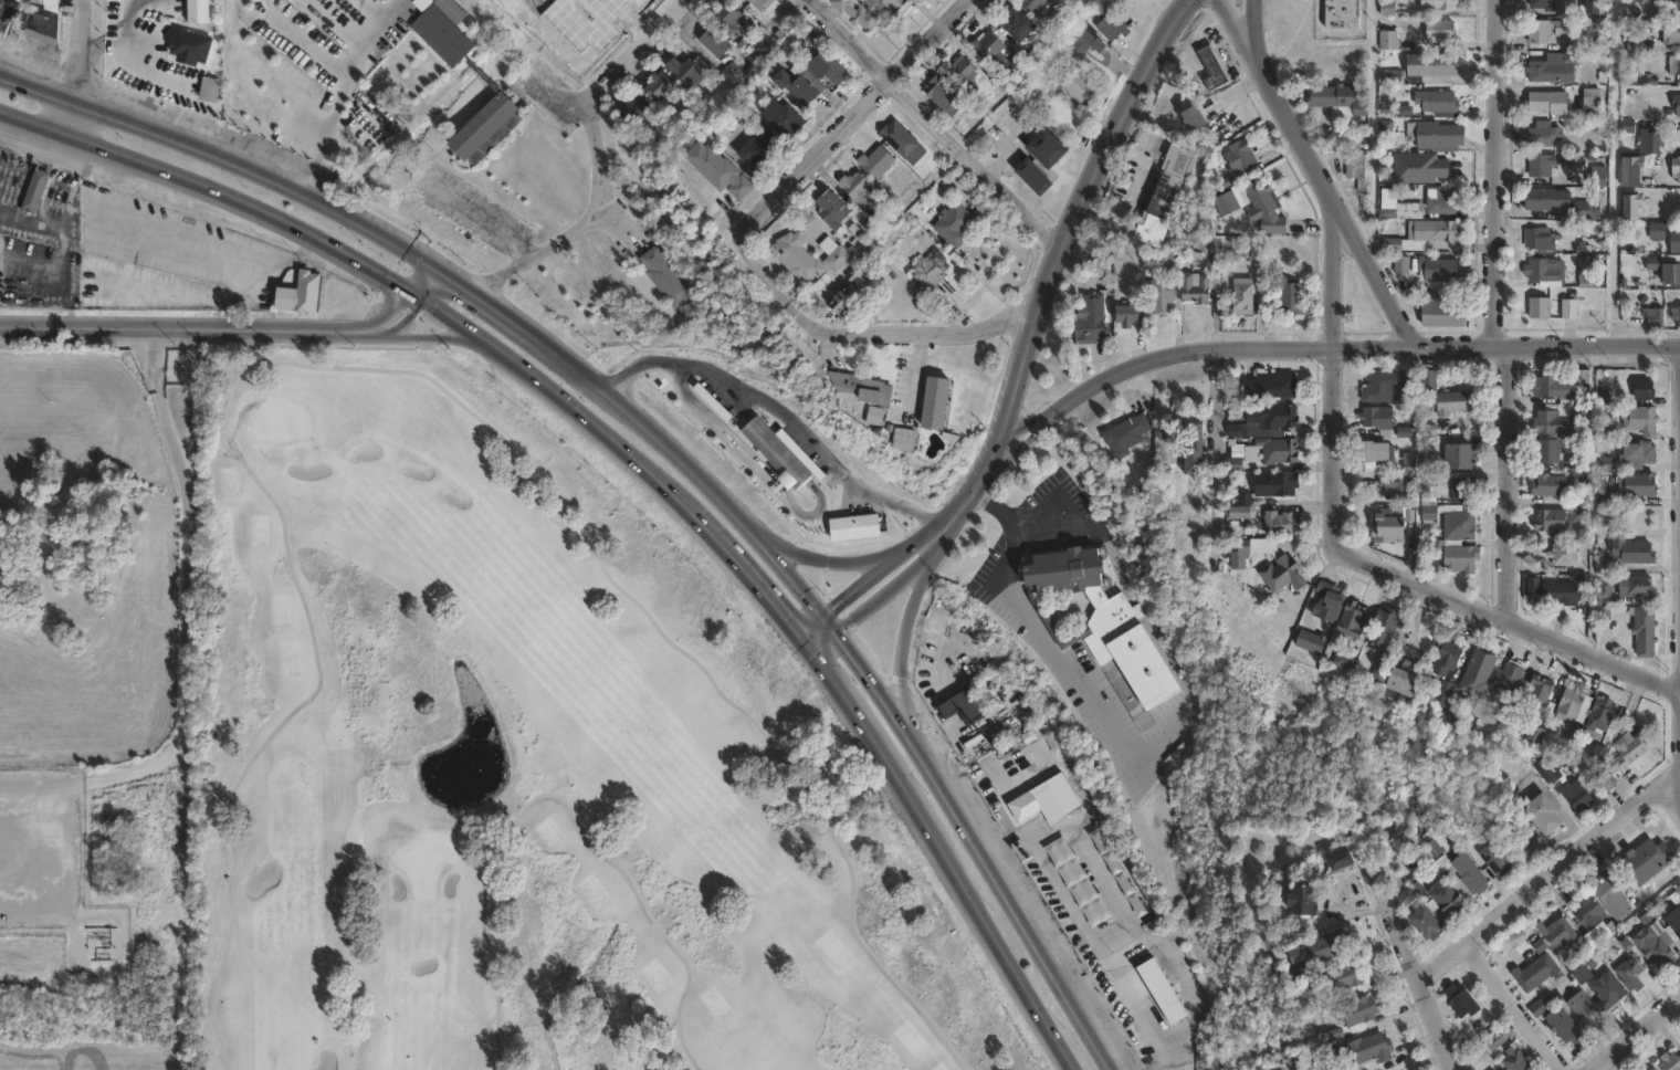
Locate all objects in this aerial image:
building: (766, 4)
building: (1035, 4)
building: (1440, 4)
building: (1547, 4)
building: (1595, 7)
building: (1678, 7)
building: (899, 8)
building: (1344, 13)
building: (44, 17)
building: (864, 17)
building: (1061, 17)
building: (728, 19)
building: (1019, 23)
road: (1237, 24)
road: (332, 27)
road: (381, 27)
building: (1112, 27)
building: (1442, 30)
building: (1547, 30)
building: (1672, 33)
building: (1392, 40)
building: (716, 42)
building: (1635, 43)
road: (306, 44)
building: (1085, 44)
building: (164, 54)
building: (998, 55)
building: (789, 57)
building: (1434, 64)
building: (1679, 66)
building: (1214, 67)
road: (81, 69)
building: (831, 69)
building: (683, 70)
building: (1555, 70)
building: (964, 71)
building: (732, 75)
building: (1393, 76)
building: (486, 80)
building: (800, 85)
building: (1080, 85)
building: (209, 88)
building: (662, 88)
building: (944, 96)
building: (1031, 96)
building: (1594, 97)
road: (303, 99)
building: (1548, 99)
building: (1341, 102)
building: (1439, 102)
road: (1279, 104)
road: (861, 106)
road: (365, 111)
building: (634, 111)
building: (1065, 114)
building: (786, 119)
building: (1196, 119)
road: (328, 122)
road: (927, 124)
building: (1544, 135)
building: (1438, 136)
building: (1652, 143)
building: (759, 148)
building: (1048, 148)
building: (1241, 156)
road: (217, 158)
building: (878, 162)
road: (595, 164)
building: (1543, 165)
building: (1678, 165)
building: (1356, 167)
building: (1420, 168)
building: (718, 170)
building: (1634, 171)
road: (1490, 172)
building: (1600, 176)
building: (1036, 178)
building: (859, 188)
road: (208, 189)
road: (97, 190)
building: (36, 192)
building: (1166, 196)
road: (696, 200)
building: (1442, 200)
building: (1228, 203)
building: (1548, 203)
building: (1634, 207)
building: (1267, 208)
building: (833, 209)
building: (1404, 211)
building: (1588, 211)
road: (1071, 221)
building: (954, 224)
road: (743, 227)
building: (1658, 231)
road: (1114, 233)
building: (1425, 235)
building: (1541, 239)
building: (1676, 241)
building: (836, 254)
building: (798, 256)
traffic signals: (423, 263)
building: (1403, 265)
building: (1440, 270)
building: (1546, 271)
building: (931, 273)
traffic signals: (440, 274)
road: (1371, 274)
road: (416, 275)
building: (1672, 275)
road: (445, 277)
building: (666, 277)
building: (1588, 279)
building: (1104, 283)
building: (1200, 286)
traffic signals: (408, 289)
building: (303, 293)
building: (1245, 296)
building: (1164, 297)
traffic signals: (423, 298)
building: (1294, 300)
building: (844, 301)
building: (1541, 307)
building: (1571, 310)
building: (1445, 311)
road: (386, 314)
building: (1131, 314)
building: (1677, 316)
road: (407, 318)
building: (1656, 318)
building: (1091, 319)
road: (811, 325)
road: (980, 325)
road: (178, 326)
road: (440, 335)
road: (531, 336)
road: (1356, 345)
road: (636, 368)
building: (1430, 380)
building: (1274, 387)
building: (1385, 387)
building: (1563, 387)
building: (864, 389)
building: (1646, 390)
road: (555, 392)
building: (1456, 403)
building: (937, 405)
building: (878, 417)
road: (1047, 420)
building: (1272, 420)
building: (1379, 420)
building: (1642, 420)
building: (1562, 421)
road: (716, 428)
building: (1127, 436)
road: (1212, 436)
building: (906, 440)
road: (809, 444)
building: (1194, 450)
building: (1379, 452)
building: (1552, 452)
building: (778, 453)
building: (1281, 453)
building: (1641, 455)
building: (1461, 458)
building: (1240, 465)
building: (1581, 466)
building: (1278, 484)
road: (1503, 484)
building: (1640, 485)
building: (1554, 486)
building: (1399, 487)
road: (774, 489)
building: (1464, 492)
road: (967, 497)
building: (1606, 499)
road: (792, 507)
road: (842, 508)
building: (1240, 513)
building: (1431, 515)
building: (1552, 521)
building: (1282, 524)
building: (1388, 525)
building: (1462, 525)
building: (854, 528)
building: (1635, 552)
road: (1348, 555)
building: (1566, 556)
road: (825, 558)
building: (1463, 559)
building: (1606, 565)
building: (1284, 568)
road: (864, 577)
road: (753, 578)
road: (185, 586)
building: (1638, 587)
building: (1563, 592)
road: (878, 595)
building: (1330, 602)
traffic signals: (819, 612)
building: (1355, 620)
road: (1027, 629)
building: (1106, 629)
building: (1387, 629)
traffic signals: (795, 631)
traffic signals: (834, 631)
building: (1646, 632)
building: (1310, 641)
traffic signals: (810, 651)
building: (1448, 659)
building: (1383, 670)
building: (1480, 674)
building: (1511, 676)
building: (1408, 679)
road: (906, 686)
building: (1445, 695)
building: (1541, 695)
road: (881, 701)
building: (964, 706)
building: (1510, 710)
building: (1573, 713)
building: (1604, 727)
building: (1537, 733)
building: (1053, 742)
building: (1629, 751)
park: (531, 765)
building: (1547, 773)
building: (1609, 780)
building: (1577, 795)
building: (1039, 804)
building: (1544, 812)
building: (1499, 857)
building: (1343, 859)
road: (943, 860)
building: (1649, 860)
road: (1546, 864)
building: (1471, 873)
building: (1078, 880)
building: (1679, 889)
building: (1614, 895)
building: (1448, 896)
building: (1304, 900)
building: (1592, 912)
building: (1427, 923)
building: (1560, 932)
building: (1659, 937)
building: (1621, 942)
building: (1321, 951)
road: (1411, 965)
building: (1537, 972)
building: (1584, 974)
building: (1342, 977)
building: (1634, 982)
building: (1134, 984)
building: (1609, 989)
building: (1166, 990)
building: (1463, 1001)
road: (1508, 1003)
building: (1543, 1005)
building: (1587, 1010)
building: (1358, 1014)
building: (1566, 1026)
road: (1632, 1031)
building: (1500, 1037)
building: (1372, 1049)
building: (1478, 1057)
building: (1518, 1060)
building: (1670, 1060)
building: (1649, 1068)
building: (1653, 1068)
building: (1492, 1069)
building: (1644, 1069)

